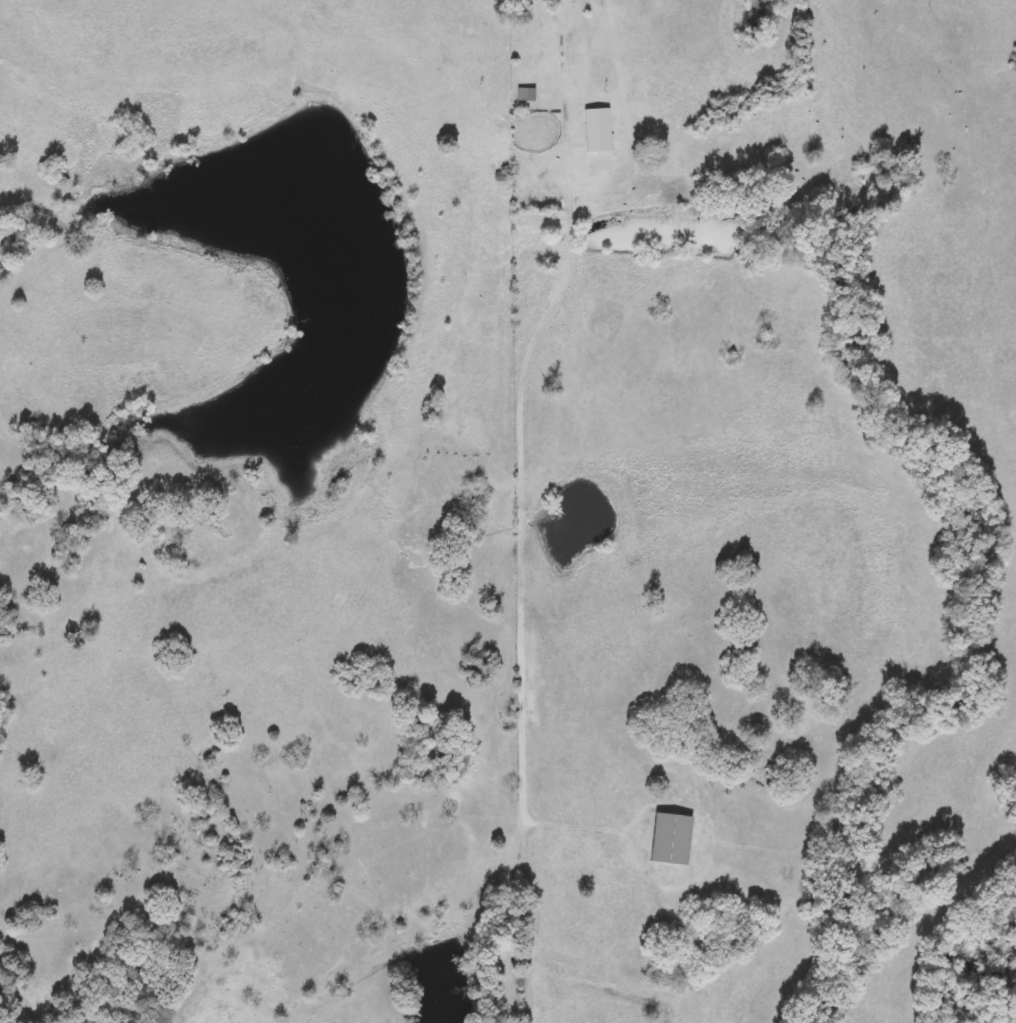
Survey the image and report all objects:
building: (526, 95)
building: (594, 142)
road: (522, 418)
building: (671, 839)

